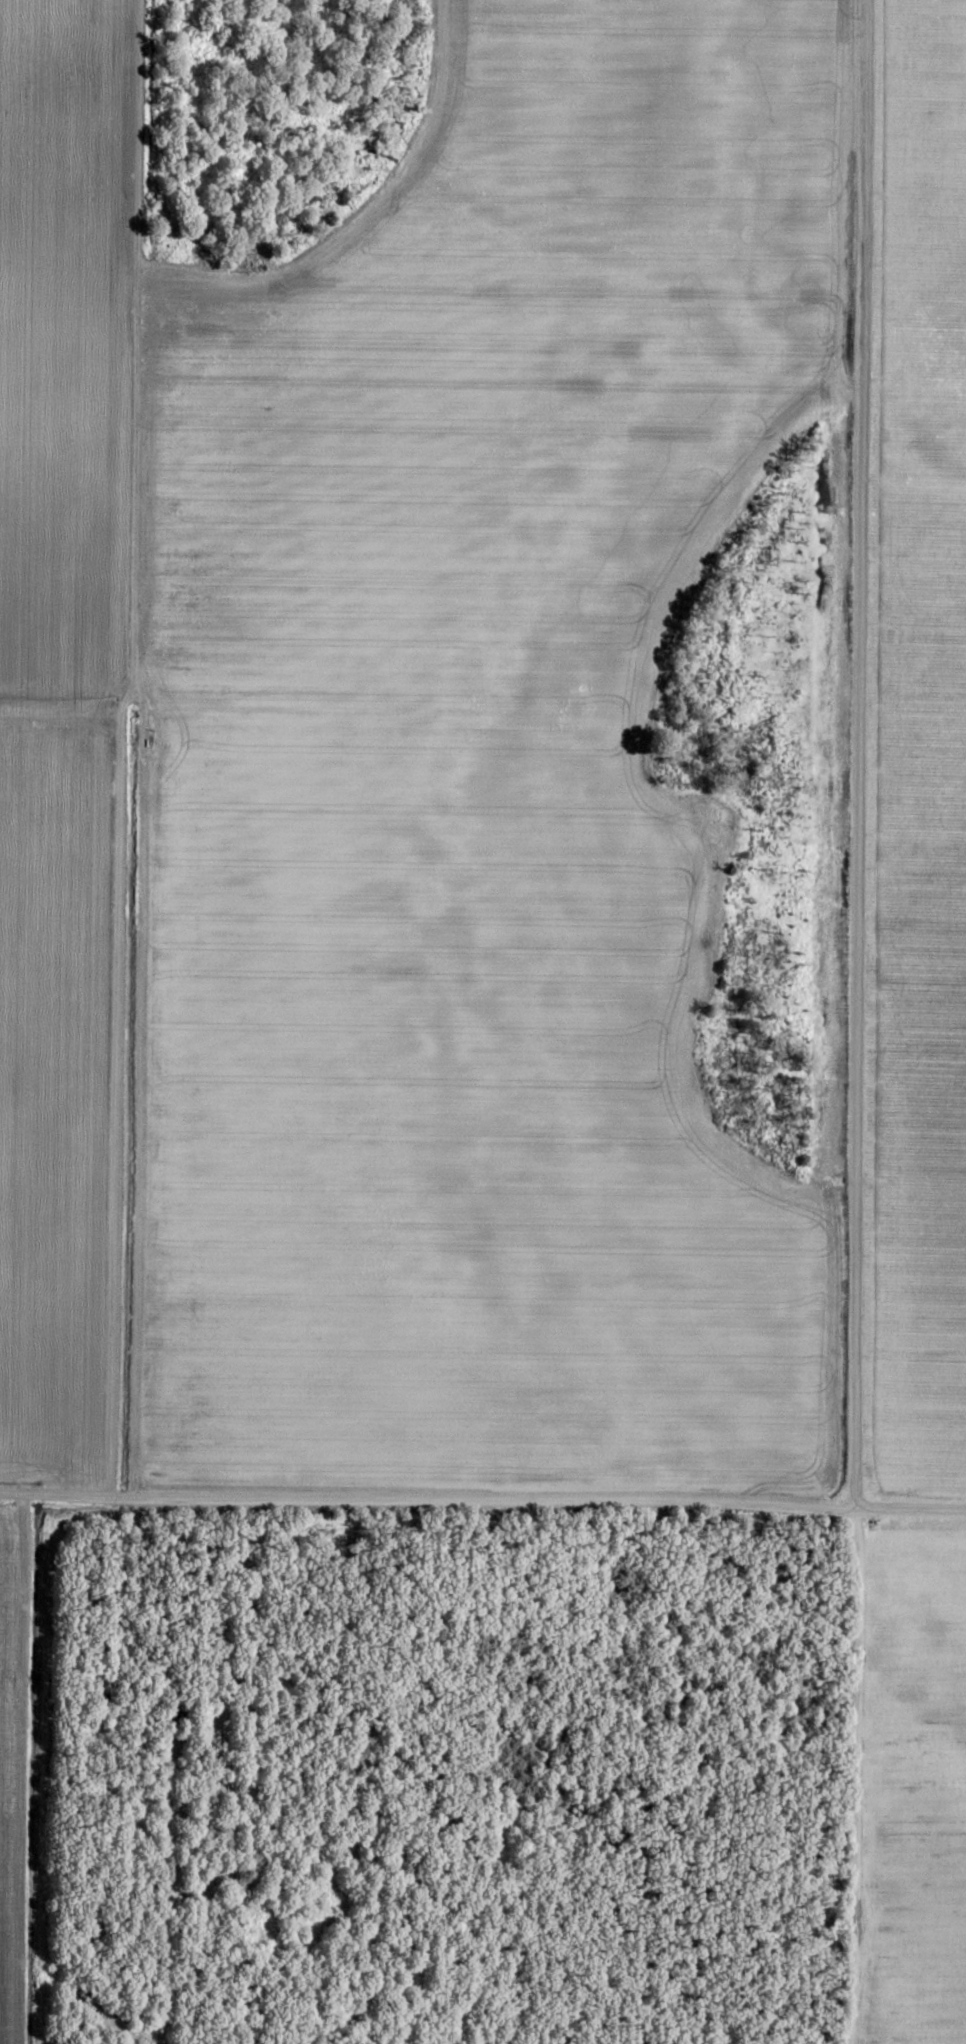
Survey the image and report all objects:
road: (852, 1021)
road: (423, 1506)

